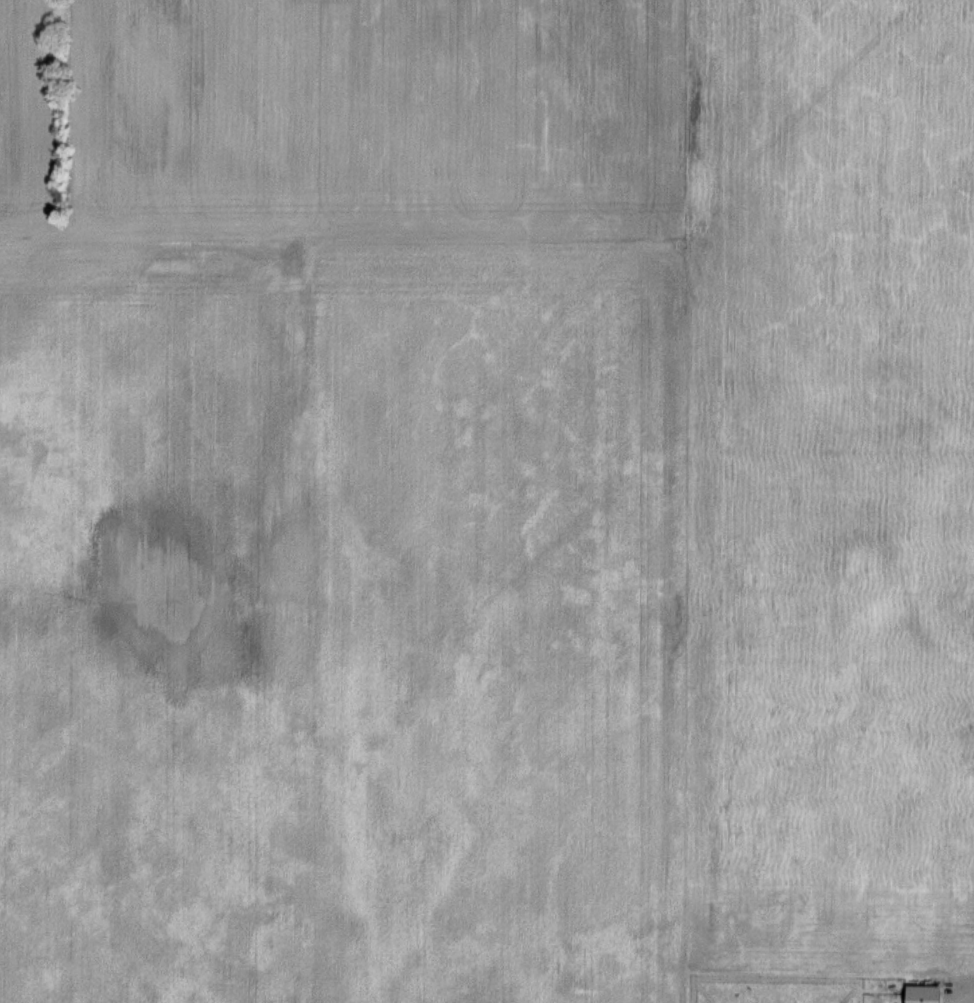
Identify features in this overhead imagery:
building: (917, 994)

